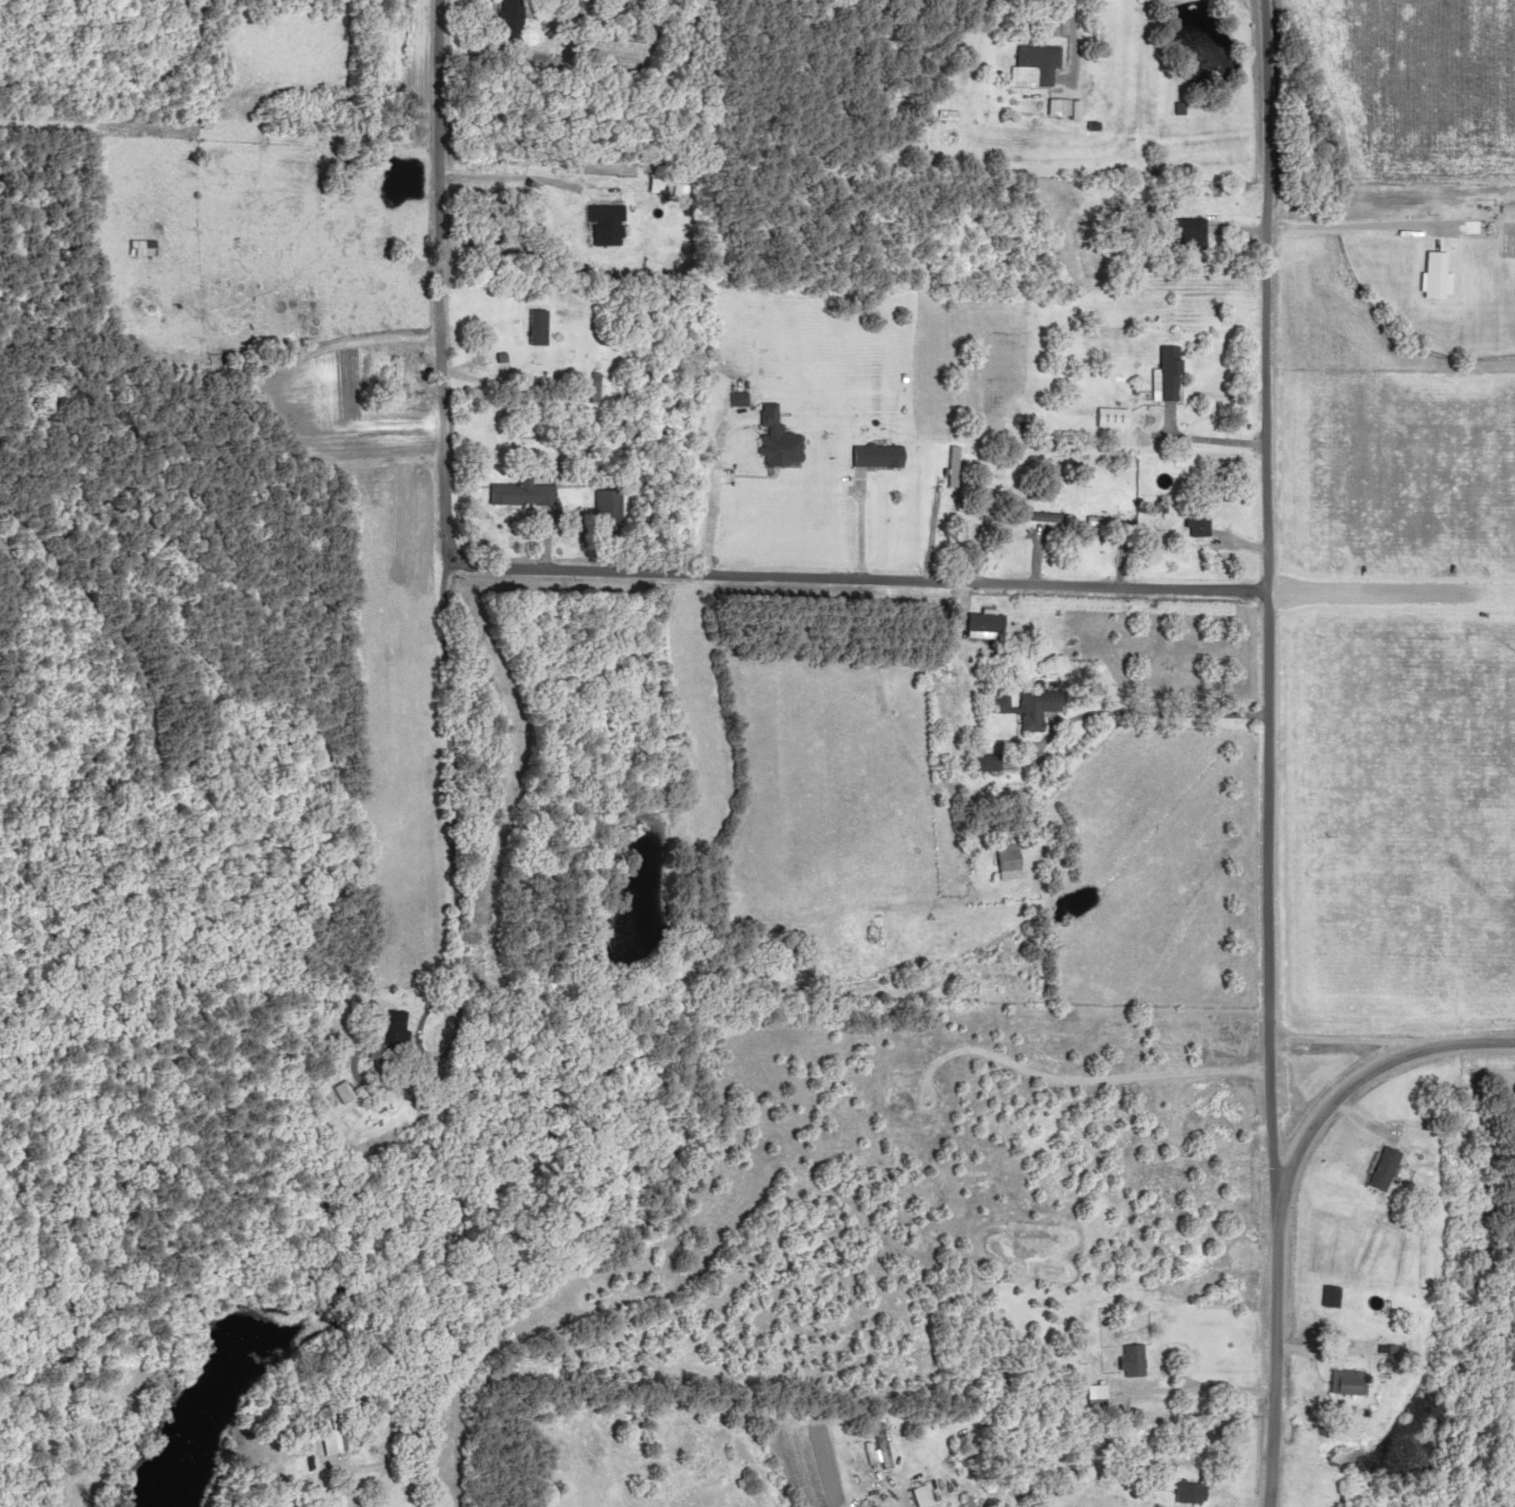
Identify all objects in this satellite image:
building: (508, 18)
building: (1035, 62)
building: (1059, 107)
building: (1182, 233)
building: (138, 247)
building: (500, 334)
building: (556, 358)
building: (1161, 373)
building: (391, 377)
building: (1103, 418)
building: (772, 439)
building: (871, 456)
building: (946, 466)
building: (516, 494)
building: (603, 506)
building: (1192, 515)
building: (1044, 518)
road: (1251, 519)
building: (1095, 523)
road: (564, 574)
road: (473, 674)
building: (994, 705)
building: (1032, 707)
building: (981, 763)
building: (1001, 858)
building: (382, 1034)
road: (1390, 1042)
building: (334, 1089)
road: (1352, 1131)
road: (1268, 1269)
building: (1128, 1359)
building: (1339, 1379)
building: (1092, 1393)
building: (406, 1420)
building: (322, 1431)
building: (875, 1448)
building: (1189, 1491)
building: (918, 1495)
building: (868, 1505)

